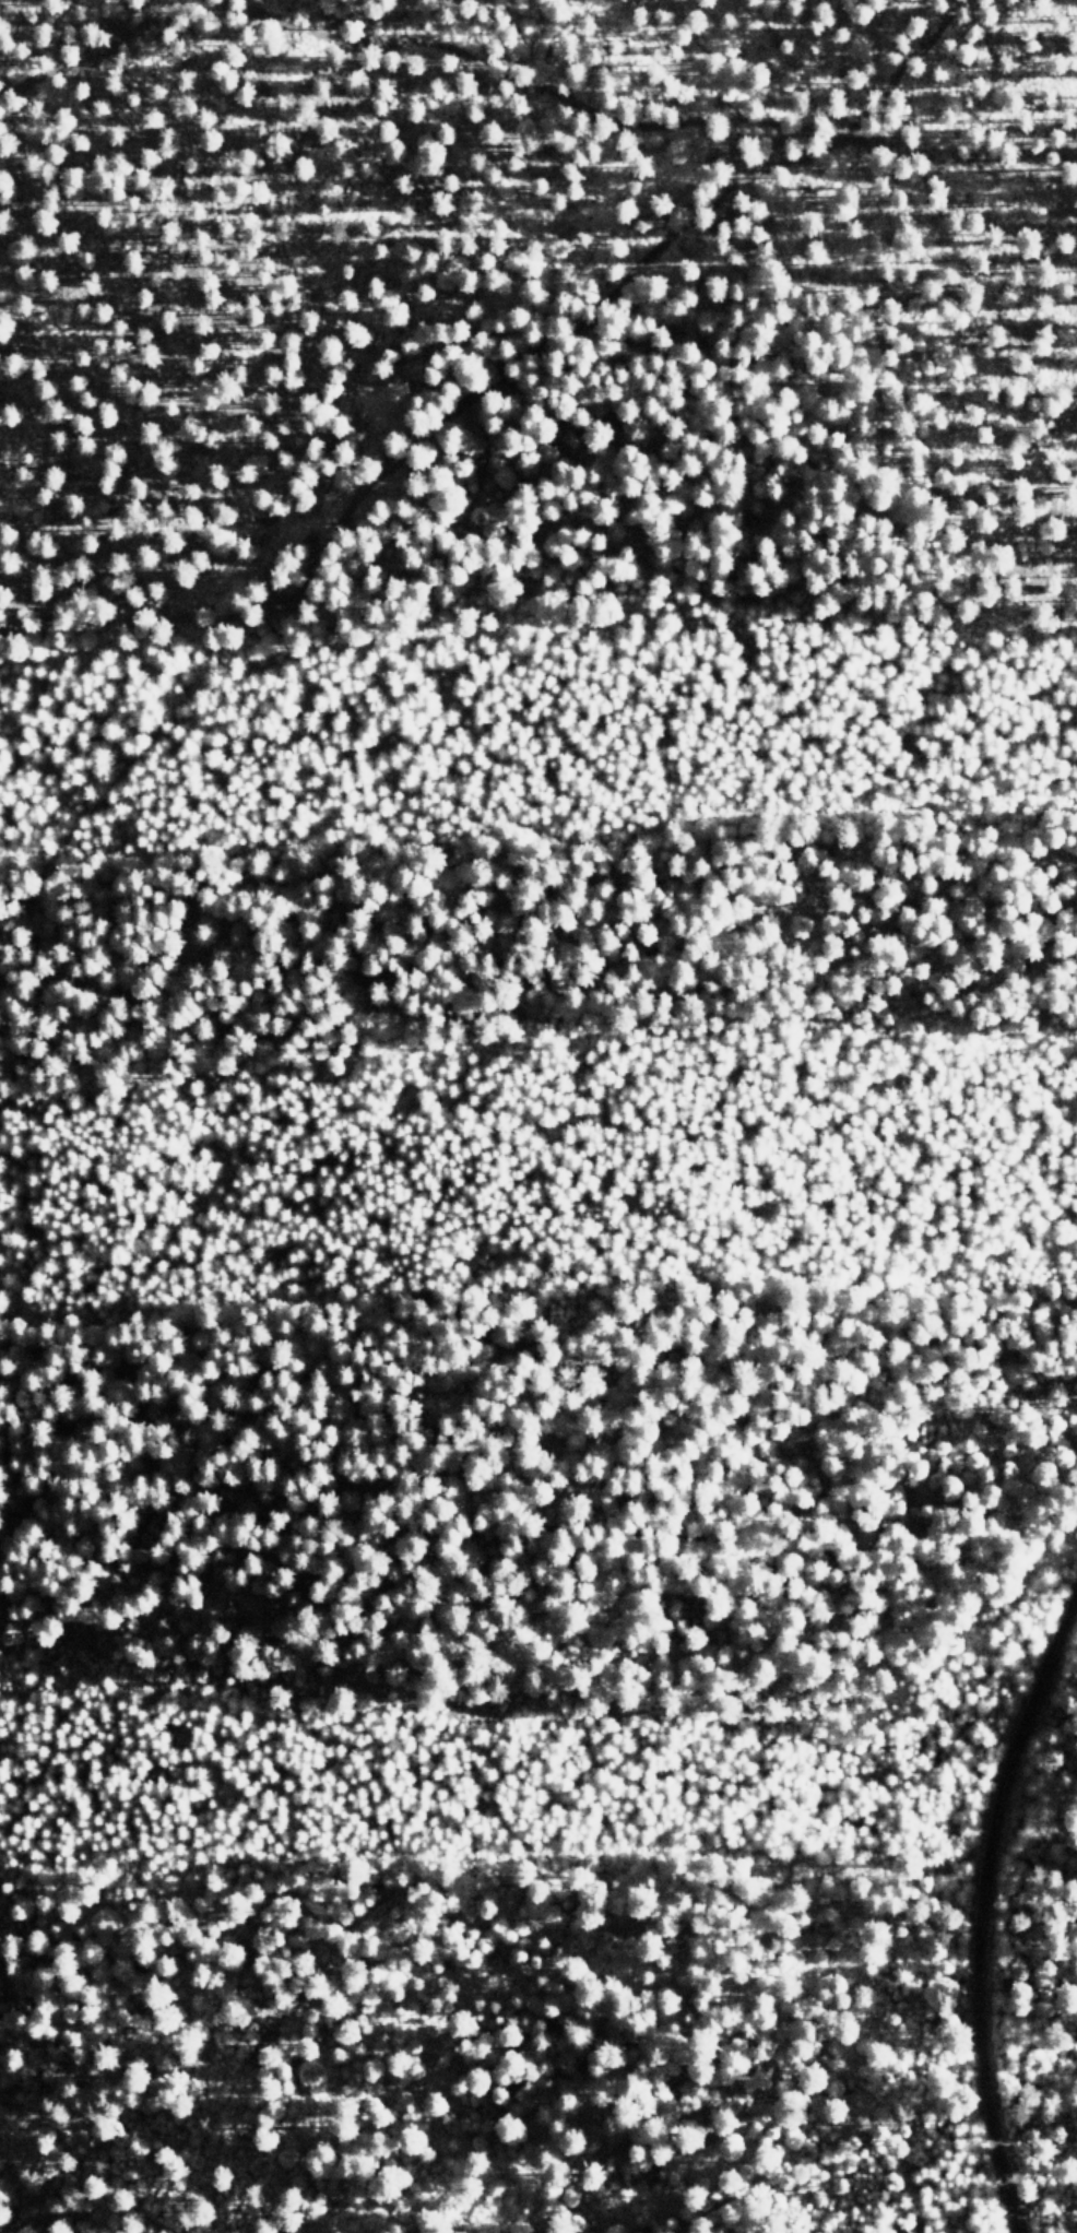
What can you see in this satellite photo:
road: (999, 1910)

